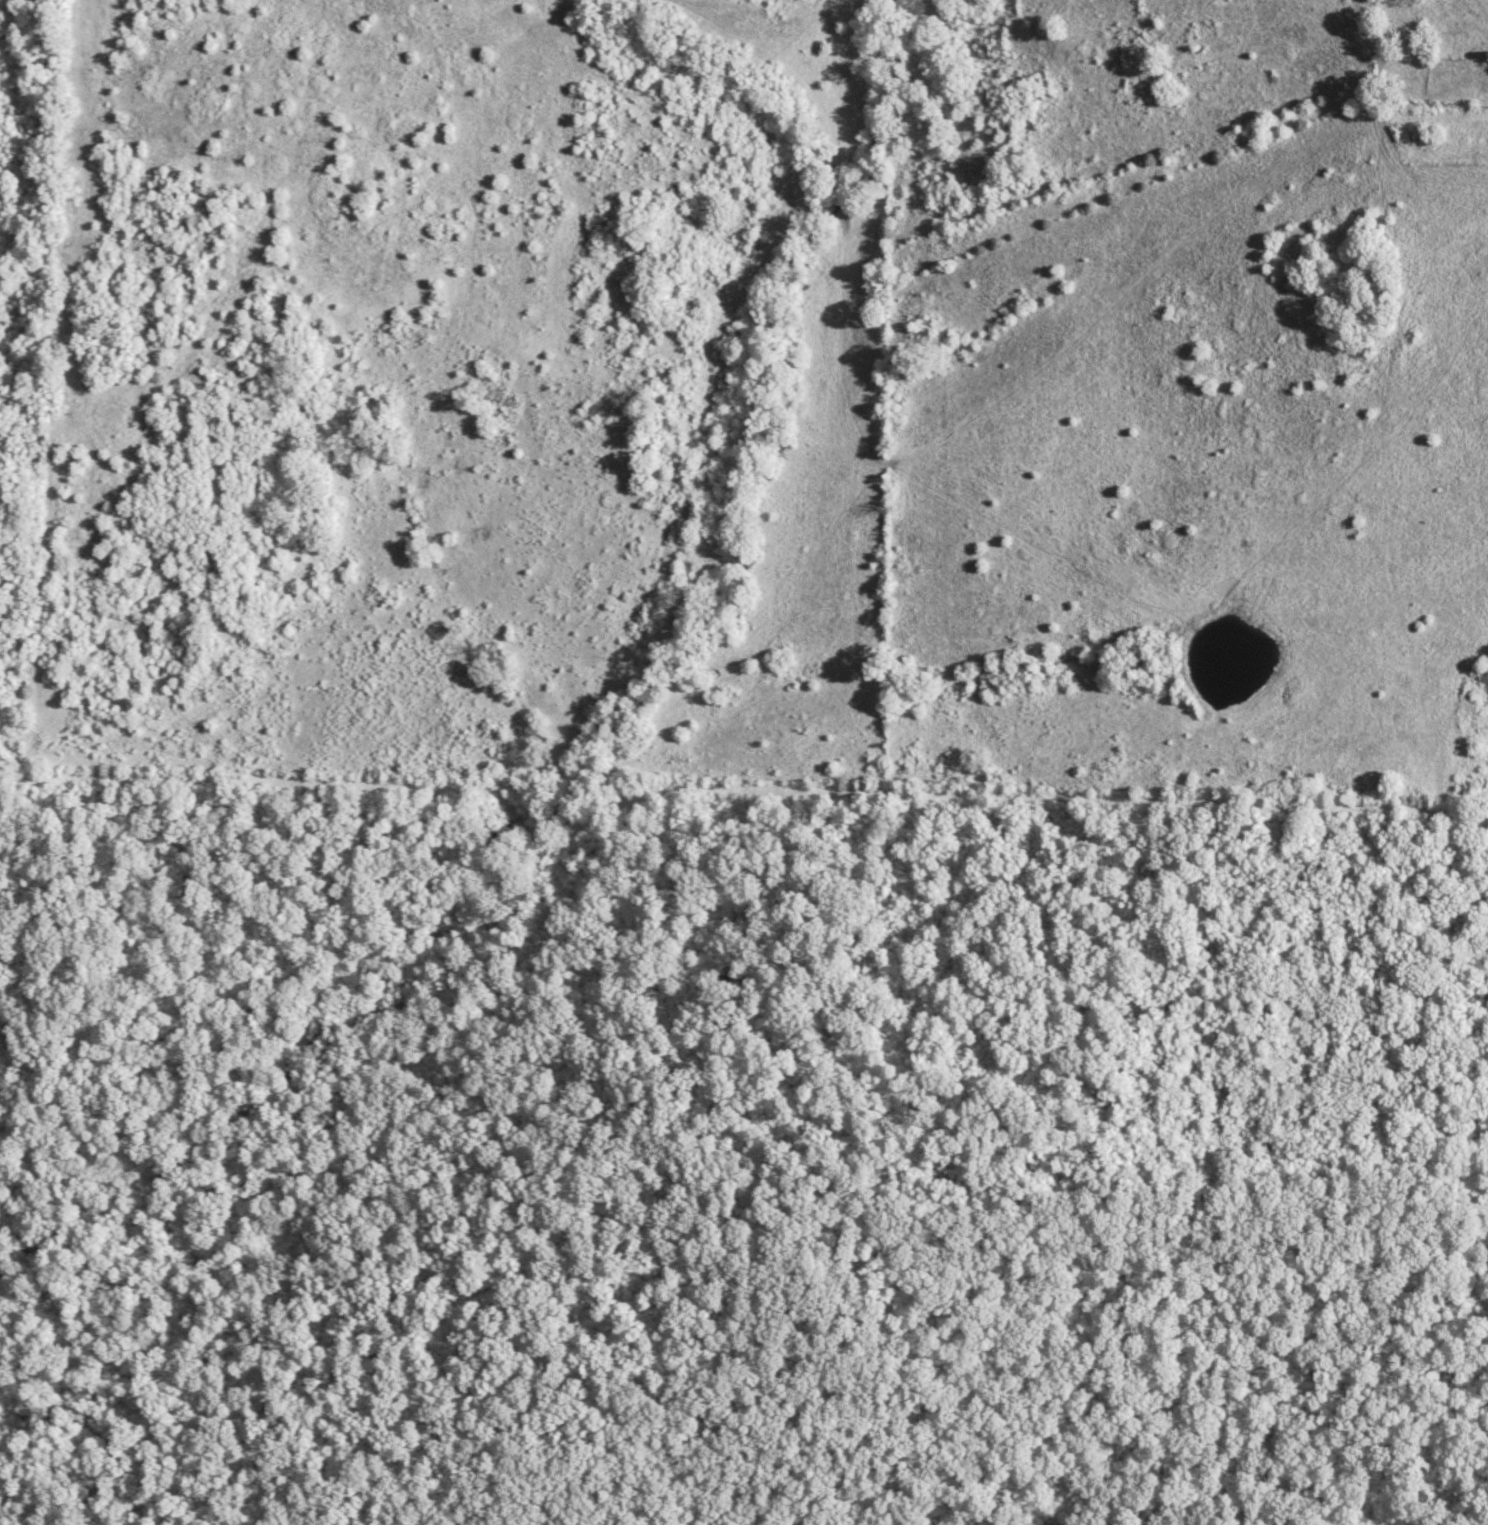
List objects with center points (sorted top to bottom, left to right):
road: (1476, 119)

